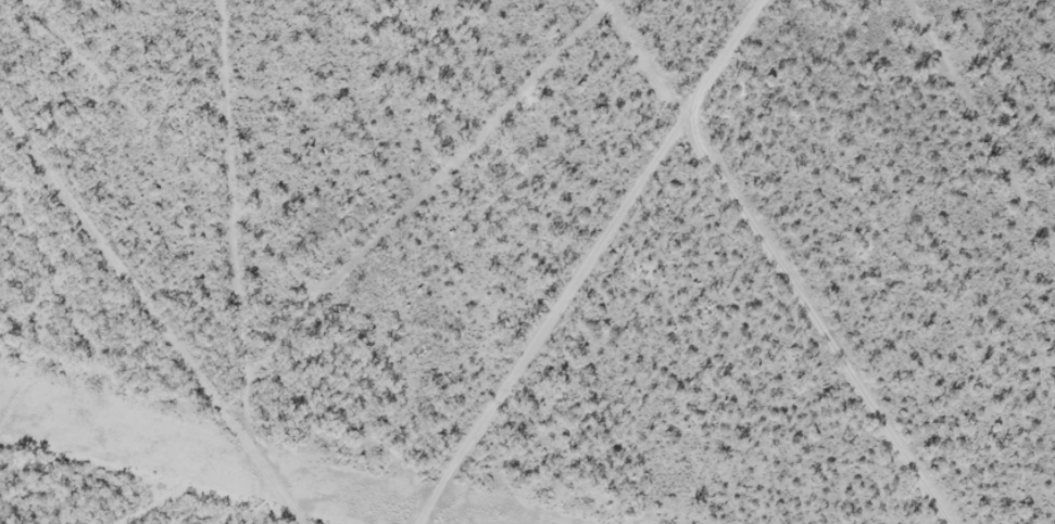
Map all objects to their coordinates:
road: (530, 245)

